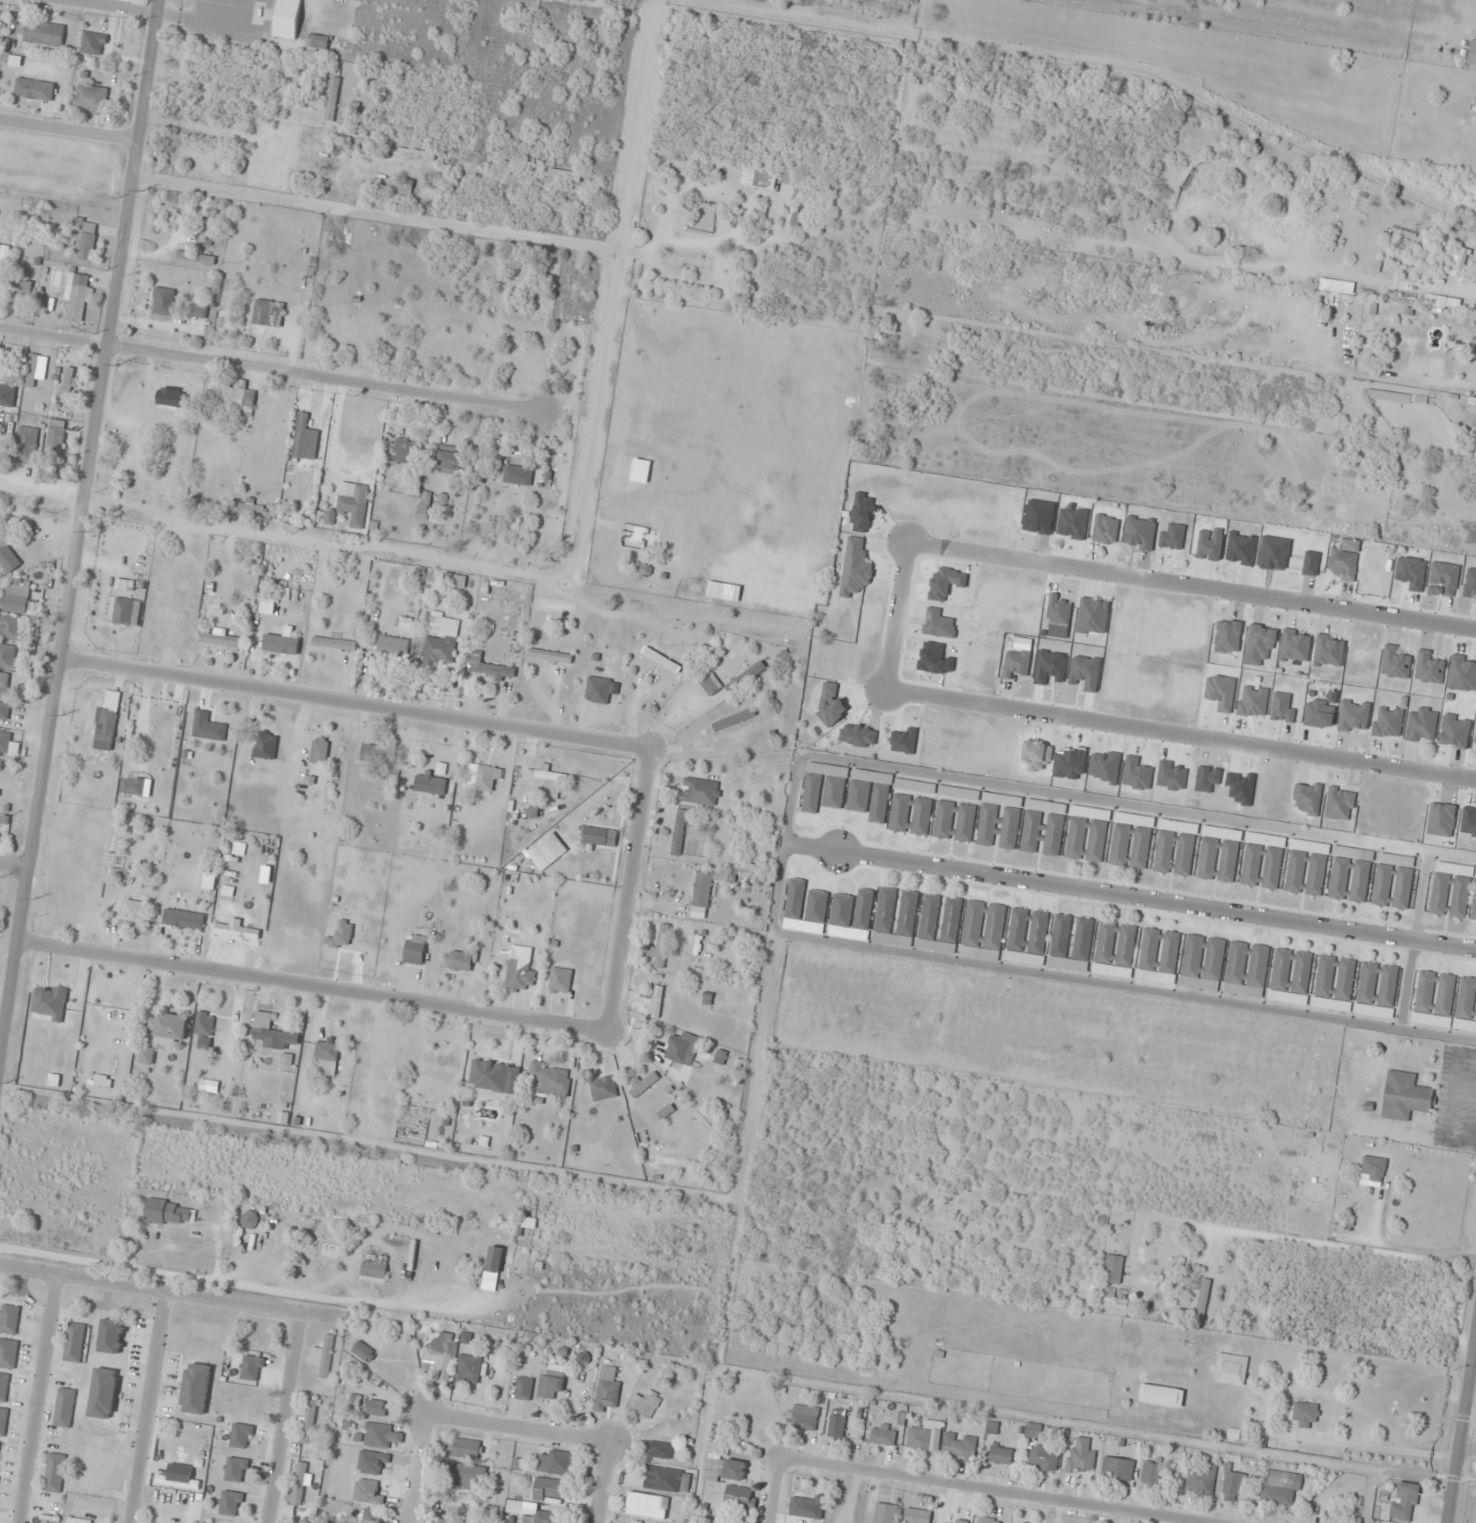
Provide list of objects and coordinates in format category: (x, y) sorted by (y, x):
road: (113, 7)
building: (286, 19)
building: (44, 34)
building: (317, 41)
building: (93, 43)
building: (1472, 54)
building: (34, 89)
building: (91, 99)
building: (332, 99)
road: (71, 133)
building: (416, 154)
building: (564, 175)
building: (787, 178)
building: (758, 179)
building: (406, 188)
building: (84, 241)
building: (195, 258)
building: (3, 264)
building: (77, 295)
building: (22, 296)
building: (162, 301)
building: (1435, 302)
building: (1370, 308)
building: (199, 312)
building: (268, 314)
building: (35, 369)
road: (270, 370)
building: (67, 387)
building: (7, 395)
building: (234, 397)
building: (1471, 414)
building: (55, 438)
building: (305, 438)
building: (26, 446)
building: (404, 452)
building: (450, 461)
building: (641, 471)
building: (518, 476)
building: (354, 507)
road: (77, 518)
building: (1105, 530)
building: (8, 560)
building: (1342, 564)
building: (855, 568)
building: (1411, 573)
road: (1191, 585)
building: (1470, 585)
building: (725, 592)
building: (15, 597)
building: (1057, 610)
building: (123, 611)
road: (897, 613)
building: (11, 628)
building: (222, 640)
building: (441, 641)
building: (334, 644)
building: (393, 647)
building: (549, 656)
building: (9, 657)
building: (1016, 662)
building: (490, 668)
building: (1462, 674)
building: (726, 678)
building: (597, 690)
road: (355, 700)
building: (830, 705)
building: (4, 713)
building: (1319, 714)
building: (107, 717)
building: (733, 719)
building: (1475, 724)
building: (217, 726)
building: (1422, 726)
road: (1181, 735)
building: (4, 741)
building: (319, 750)
building: (378, 754)
building: (482, 777)
building: (551, 781)
building: (430, 784)
building: (824, 787)
building: (700, 791)
building: (859, 796)
building: (1307, 798)
building: (880, 802)
building: (1340, 804)
building: (911, 815)
building: (954, 821)
building: (1000, 822)
building: (1044, 828)
building: (678, 833)
building: (595, 836)
building: (1086, 839)
building: (1131, 842)
building: (1175, 848)
building: (1219, 855)
road: (784, 856)
road: (13, 865)
building: (1306, 868)
building: (1350, 878)
building: (1393, 882)
road: (633, 888)
building: (1451, 892)
building: (701, 894)
road: (1131, 896)
building: (795, 902)
building: (1474, 906)
building: (133, 909)
building: (815, 912)
building: (851, 916)
building: (895, 918)
building: (183, 919)
building: (939, 925)
building: (237, 931)
building: (983, 931)
building: (1027, 937)
road: (1414, 940)
building: (1071, 944)
building: (660, 947)
building: (415, 949)
building: (1115, 950)
building: (1158, 956)
building: (1203, 962)
building: (1246, 969)
building: (519, 976)
building: (1290, 976)
building: (560, 981)
building: (1334, 983)
road: (313, 986)
building: (1377, 990)
building: (1434, 999)
building: (656, 1002)
building: (1466, 1006)
building: (112, 1012)
building: (204, 1024)
building: (168, 1028)
building: (271, 1032)
building: (682, 1049)
building: (146, 1056)
building: (327, 1058)
building: (436, 1067)
building: (489, 1072)
building: (551, 1079)
building: (641, 1084)
building: (603, 1088)
building: (1405, 1096)
building: (1373, 1169)
building: (170, 1213)
building: (249, 1220)
building: (494, 1260)
building: (374, 1267)
building: (1113, 1270)
road: (169, 1292)
building: (1201, 1298)
building: (9, 1319)
building: (111, 1336)
building: (74, 1342)
building: (363, 1351)
building: (8, 1353)
building: (440, 1354)
building: (323, 1356)
building: (582, 1358)
building: (500, 1363)
building: (252, 1368)
building: (1231, 1368)
building: (470, 1369)
building: (551, 1382)
building: (4, 1386)
building: (196, 1388)
building: (523, 1388)
building: (607, 1389)
building: (103, 1393)
building: (1161, 1395)
road: (36, 1399)
building: (645, 1404)
building: (64, 1407)
road: (146, 1407)
building: (376, 1408)
building: (1306, 1414)
building: (805, 1416)
road: (282, 1418)
building: (3, 1421)
building: (308, 1423)
building: (837, 1423)
road: (1461, 1427)
road: (520, 1428)
building: (1033, 1430)
building: (883, 1435)
building: (241, 1436)
building: (379, 1436)
building: (959, 1447)
building: (1306, 1448)
building: (466, 1449)
building: (660, 1450)
building: (1001, 1454)
building: (1081, 1458)
building: (1044, 1459)
building: (555, 1463)
road: (418, 1469)
building: (725, 1469)
building: (1117, 1469)
building: (236, 1470)
building: (54, 1473)
building: (1151, 1474)
building: (467, 1477)
building: (667, 1480)
road: (606, 1482)
building: (1201, 1482)
building: (1233, 1486)
building: (296, 1487)
building: (1280, 1487)
building: (549, 1490)
road: (780, 1491)
road: (994, 1491)
building: (740, 1498)
building: (1405, 1502)
building: (231, 1503)
building: (647, 1506)
building: (516, 1507)
building: (802, 1507)
building: (885, 1513)
building: (370, 1516)
building: (917, 1516)
building: (542, 1517)
building: (77, 1520)
building: (987, 1520)
building: (443, 1521)
building: (957, 1521)
building: (45, 1522)

